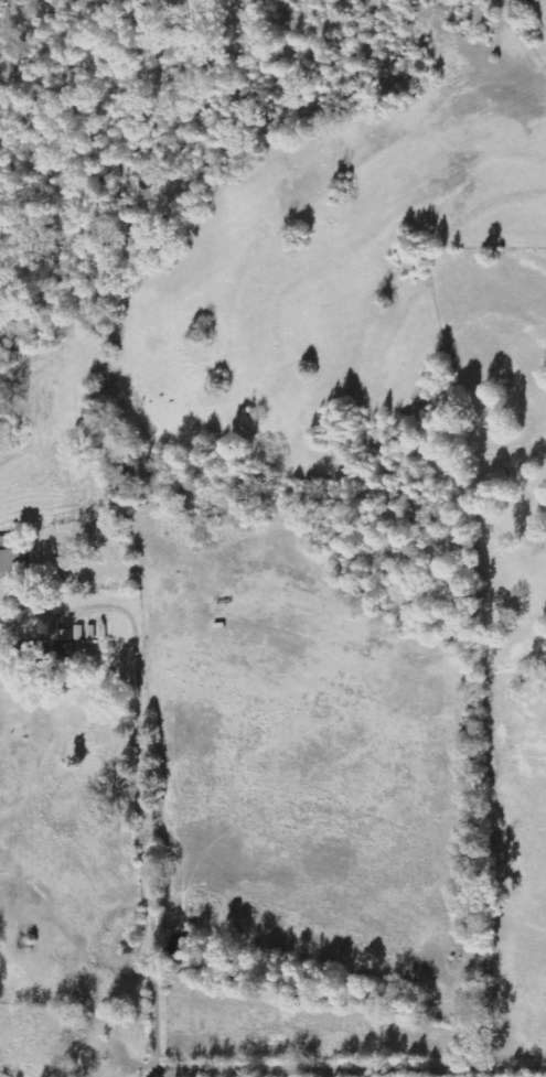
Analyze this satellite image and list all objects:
building: (9, 560)
building: (49, 651)
road: (148, 850)
road: (379, 1073)

